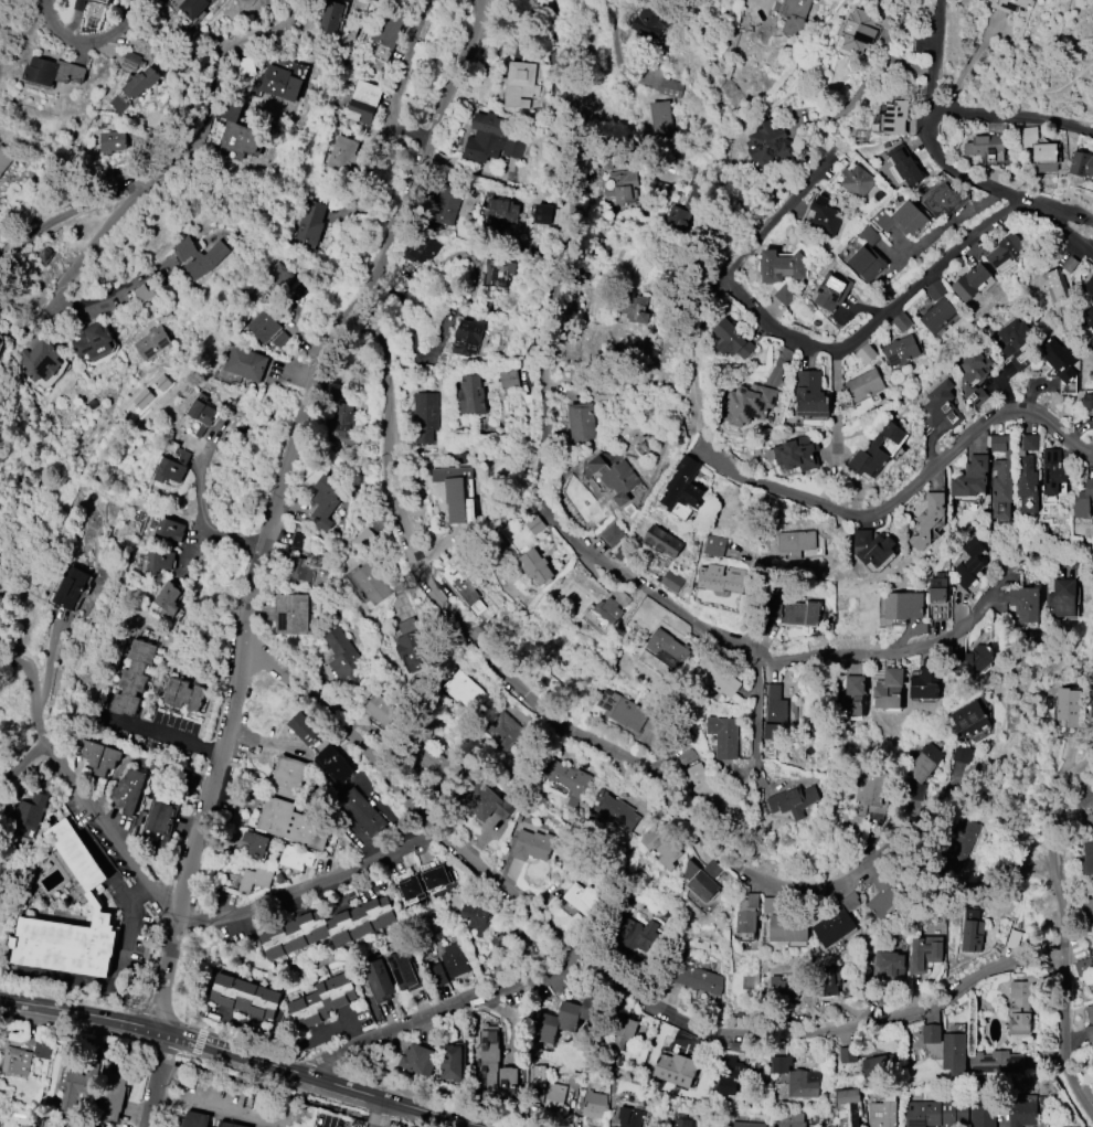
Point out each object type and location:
building: (87, 0)
building: (383, 0)
building: (386, 0)
building: (79, 4)
building: (1016, 7)
road: (7, 8)
building: (194, 8)
building: (798, 17)
building: (331, 18)
building: (649, 20)
building: (389, 29)
building: (864, 30)
road: (482, 33)
road: (86, 43)
road: (934, 52)
park: (1081, 60)
building: (132, 62)
building: (244, 67)
building: (53, 71)
road: (876, 74)
building: (282, 84)
building: (521, 84)
building: (672, 86)
building: (123, 98)
building: (364, 100)
building: (665, 117)
building: (894, 118)
road: (1011, 119)
building: (238, 131)
building: (1029, 136)
building: (486, 137)
building: (113, 141)
building: (771, 145)
building: (989, 147)
road: (178, 155)
building: (342, 155)
building: (4, 158)
building: (1046, 158)
building: (1081, 163)
building: (614, 164)
building: (904, 167)
road: (955, 169)
building: (857, 182)
building: (623, 187)
building: (664, 192)
building: (942, 201)
building: (689, 202)
building: (448, 205)
building: (503, 210)
building: (544, 214)
building: (826, 219)
building: (904, 220)
building: (310, 222)
building: (492, 226)
road: (1059, 228)
building: (604, 231)
building: (599, 245)
building: (422, 249)
building: (1005, 251)
building: (44, 253)
building: (868, 255)
building: (200, 257)
building: (1071, 265)
building: (782, 266)
building: (500, 274)
building: (277, 279)
building: (970, 281)
building: (1089, 285)
building: (1057, 286)
road: (60, 290)
building: (936, 290)
building: (832, 293)
building: (144, 294)
building: (786, 295)
building: (634, 315)
building: (1089, 315)
building: (590, 316)
building: (938, 316)
building: (902, 321)
building: (264, 326)
building: (468, 338)
building: (280, 339)
building: (94, 340)
building: (733, 340)
building: (152, 343)
road: (849, 344)
building: (1016, 344)
building: (900, 352)
building: (866, 353)
building: (1060, 360)
building: (41, 361)
building: (245, 363)
building: (974, 378)
building: (510, 379)
building: (864, 385)
road: (838, 392)
building: (473, 395)
building: (811, 395)
building: (1089, 401)
building: (747, 405)
building: (942, 406)
building: (427, 412)
building: (202, 413)
building: (342, 419)
building: (583, 426)
building: (889, 447)
building: (878, 450)
road: (294, 451)
building: (797, 454)
building: (463, 457)
building: (171, 468)
building: (1052, 471)
building: (1028, 474)
building: (320, 476)
building: (1001, 477)
building: (615, 478)
building: (972, 478)
building: (683, 487)
road: (909, 491)
building: (457, 495)
building: (1084, 501)
building: (323, 502)
road: (203, 504)
road: (551, 520)
building: (927, 520)
building: (535, 524)
building: (171, 529)
building: (612, 534)
building: (159, 538)
building: (300, 541)
building: (664, 542)
building: (797, 542)
building: (714, 545)
building: (872, 547)
building: (160, 561)
building: (970, 563)
building: (307, 566)
building: (537, 566)
building: (718, 578)
building: (464, 581)
building: (370, 583)
building: (71, 587)
building: (938, 588)
building: (169, 598)
building: (1062, 598)
building: (1026, 604)
building: (904, 606)
building: (606, 612)
building: (794, 612)
building: (399, 613)
building: (291, 614)
building: (499, 631)
building: (666, 645)
building: (414, 650)
building: (341, 657)
building: (975, 659)
building: (715, 673)
road: (43, 676)
building: (134, 676)
building: (925, 682)
building: (890, 690)
building: (466, 692)
building: (183, 694)
building: (850, 698)
building: (1091, 700)
road: (758, 703)
building: (1067, 706)
building: (380, 710)
building: (623, 710)
road: (551, 713)
building: (776, 713)
building: (969, 720)
building: (306, 730)
building: (503, 731)
road: (156, 732)
building: (723, 736)
building: (963, 755)
building: (98, 756)
building: (437, 762)
building: (923, 763)
building: (335, 764)
road: (25, 768)
road: (1068, 770)
building: (288, 777)
building: (566, 778)
building: (1005, 784)
building: (707, 785)
building: (128, 790)
building: (874, 790)
building: (914, 791)
building: (794, 800)
road: (89, 805)
building: (489, 805)
building: (32, 811)
building: (363, 811)
building: (618, 812)
building: (161, 817)
building: (1090, 820)
building: (294, 823)
building: (737, 840)
building: (664, 841)
building: (961, 846)
building: (257, 847)
building: (531, 847)
building: (298, 857)
building: (1087, 859)
building: (713, 869)
building: (1011, 871)
road: (1051, 875)
building: (437, 876)
building: (279, 878)
building: (254, 880)
road: (309, 880)
building: (699, 882)
building: (410, 889)
building: (885, 894)
building: (93, 900)
building: (583, 901)
road: (227, 902)
building: (850, 902)
building: (772, 905)
building: (974, 905)
building: (1089, 908)
building: (747, 914)
building: (972, 914)
building: (477, 918)
road: (129, 927)
building: (834, 927)
building: (327, 928)
building: (788, 928)
building: (635, 935)
building: (973, 937)
building: (532, 945)
building: (427, 948)
building: (503, 951)
building: (924, 954)
building: (427, 960)
building: (455, 960)
building: (890, 966)
building: (1084, 967)
building: (645, 968)
building: (402, 970)
road: (606, 972)
building: (438, 976)
building: (697, 978)
road: (170, 979)
building: (379, 980)
building: (826, 981)
building: (785, 990)
building: (246, 996)
building: (880, 996)
building: (322, 1000)
building: (1023, 1002)
road: (441, 1014)
building: (566, 1019)
road: (1063, 1021)
building: (1090, 1023)
building: (624, 1032)
building: (932, 1033)
building: (490, 1042)
building: (739, 1048)
building: (42, 1050)
building: (954, 1050)
building: (1092, 1051)
building: (1092, 1054)
road: (241, 1055)
building: (846, 1055)
building: (420, 1060)
building: (15, 1061)
building: (454, 1062)
building: (782, 1063)
building: (1015, 1063)
building: (879, 1065)
building: (676, 1070)
building: (381, 1072)
building: (541, 1075)
building: (731, 1075)
building: (489, 1077)
road: (151, 1078)
building: (1091, 1081)
building: (509, 1083)
building: (597, 1083)
building: (979, 1084)
building: (803, 1085)
building: (78, 1089)
building: (0, 1091)
building: (582, 1092)
building: (113, 1096)
building: (554, 1102)
building: (646, 1104)
building: (595, 1105)
building: (849, 1107)
road: (217, 1108)
building: (983, 1109)
building: (1023, 1112)
road: (380, 1114)
building: (883, 1114)
building: (937, 1114)
building: (793, 1117)
building: (632, 1118)
building: (197, 1119)
building: (682, 1121)
building: (75, 1125)
building: (230, 1125)

